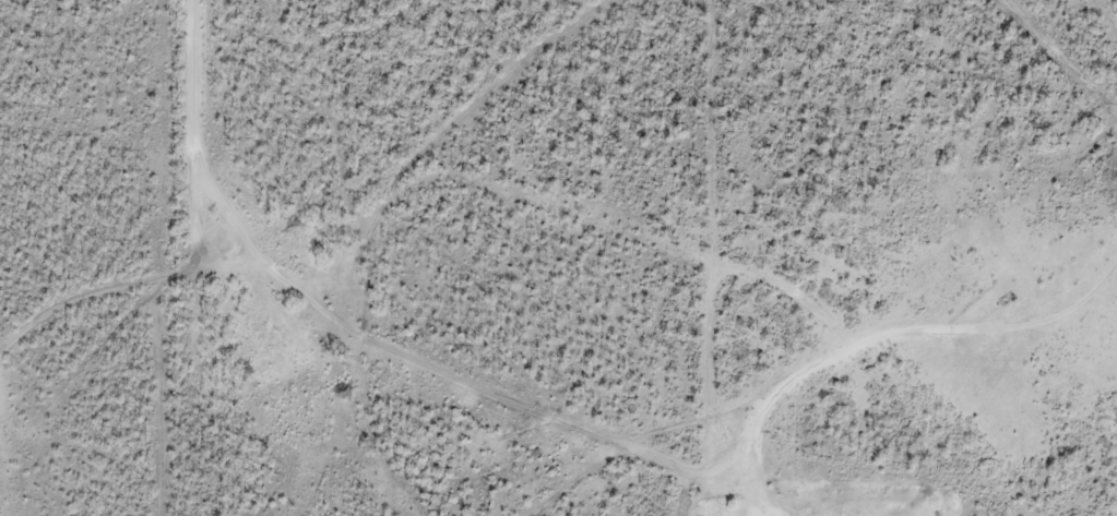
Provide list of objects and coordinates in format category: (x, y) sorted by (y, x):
road: (199, 127)

